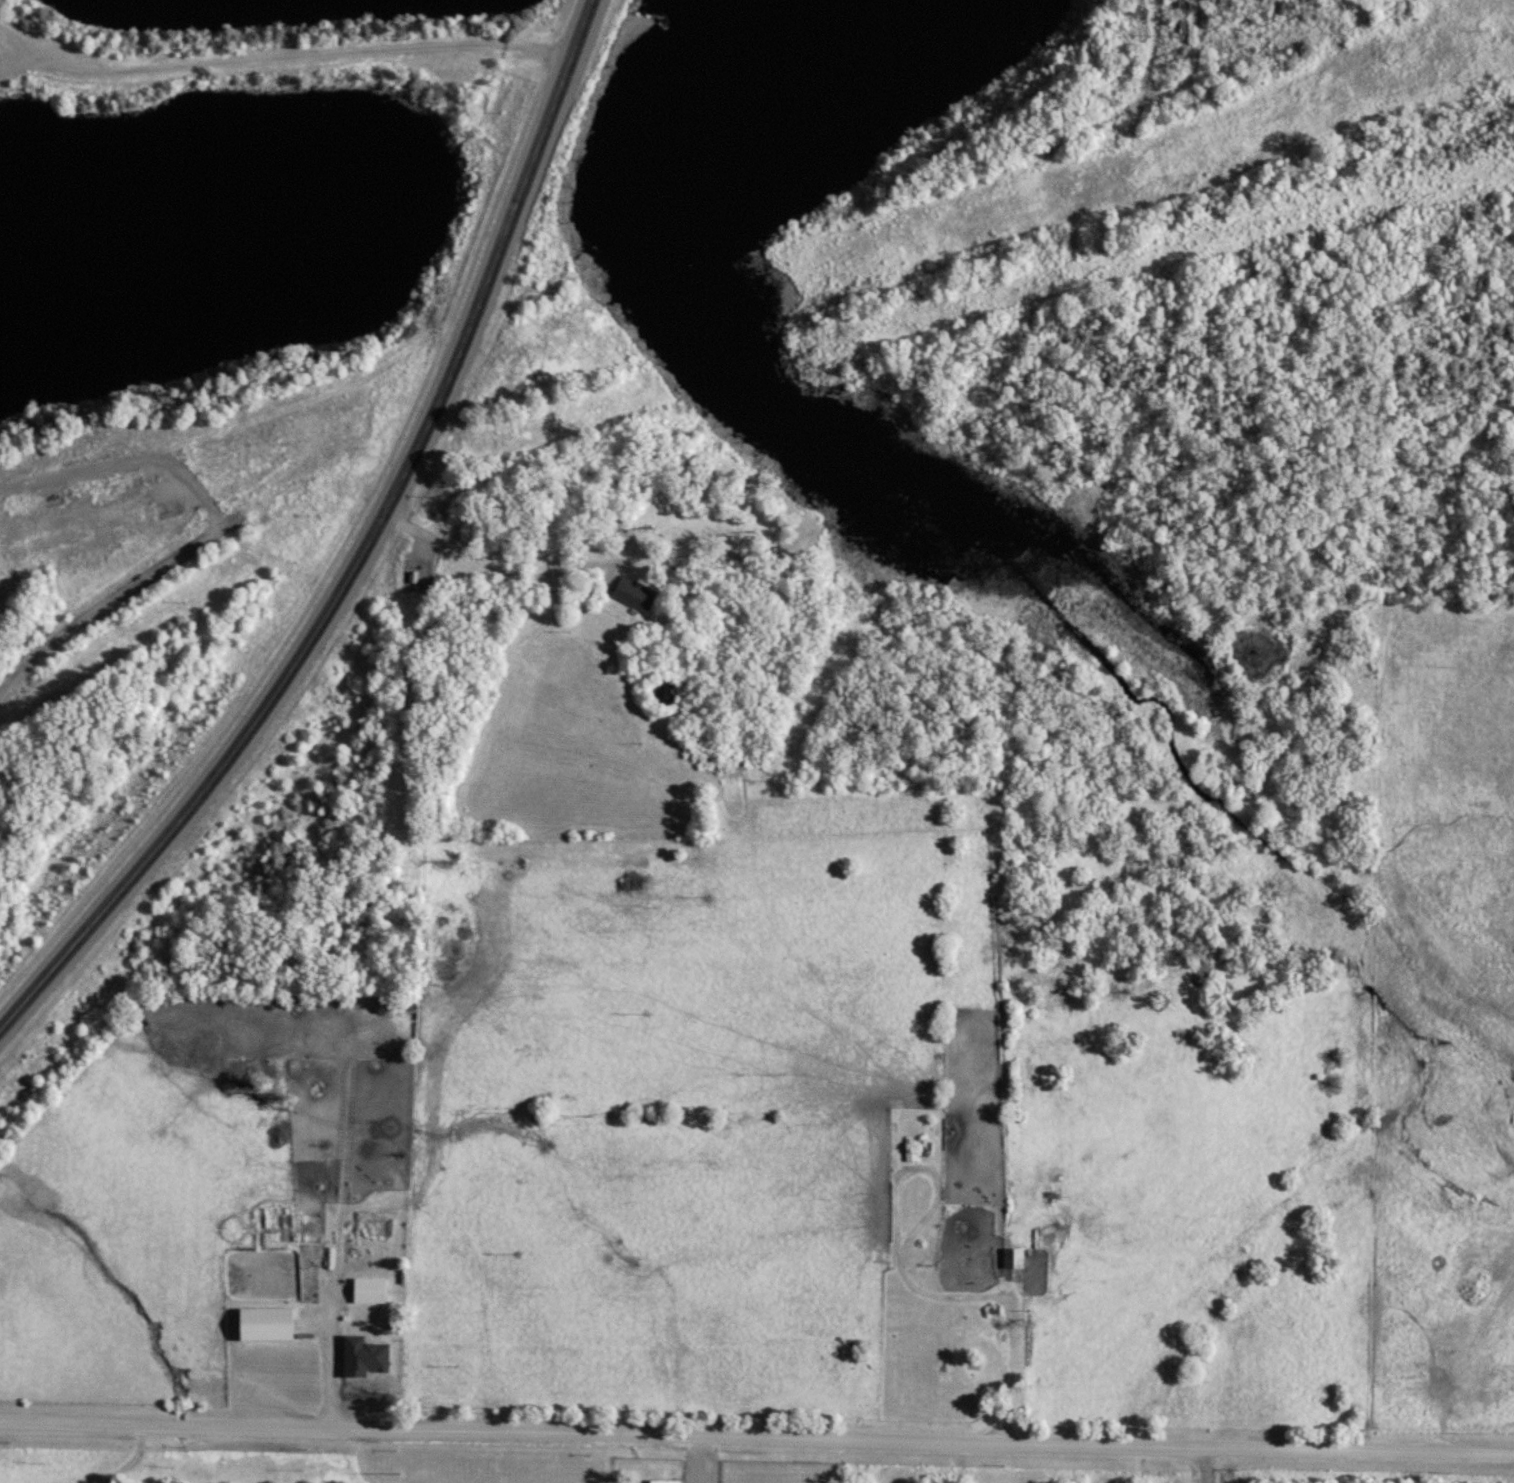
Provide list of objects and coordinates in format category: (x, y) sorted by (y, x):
building: (1179, 16)
road: (16, 38)
road: (253, 62)
road: (362, 552)
building: (631, 593)
road: (107, 603)
building: (1012, 1257)
road: (913, 1285)
building: (368, 1290)
building: (263, 1323)
building: (361, 1356)
road: (757, 1435)
road: (701, 1459)
road: (1206, 1466)
building: (664, 1481)

